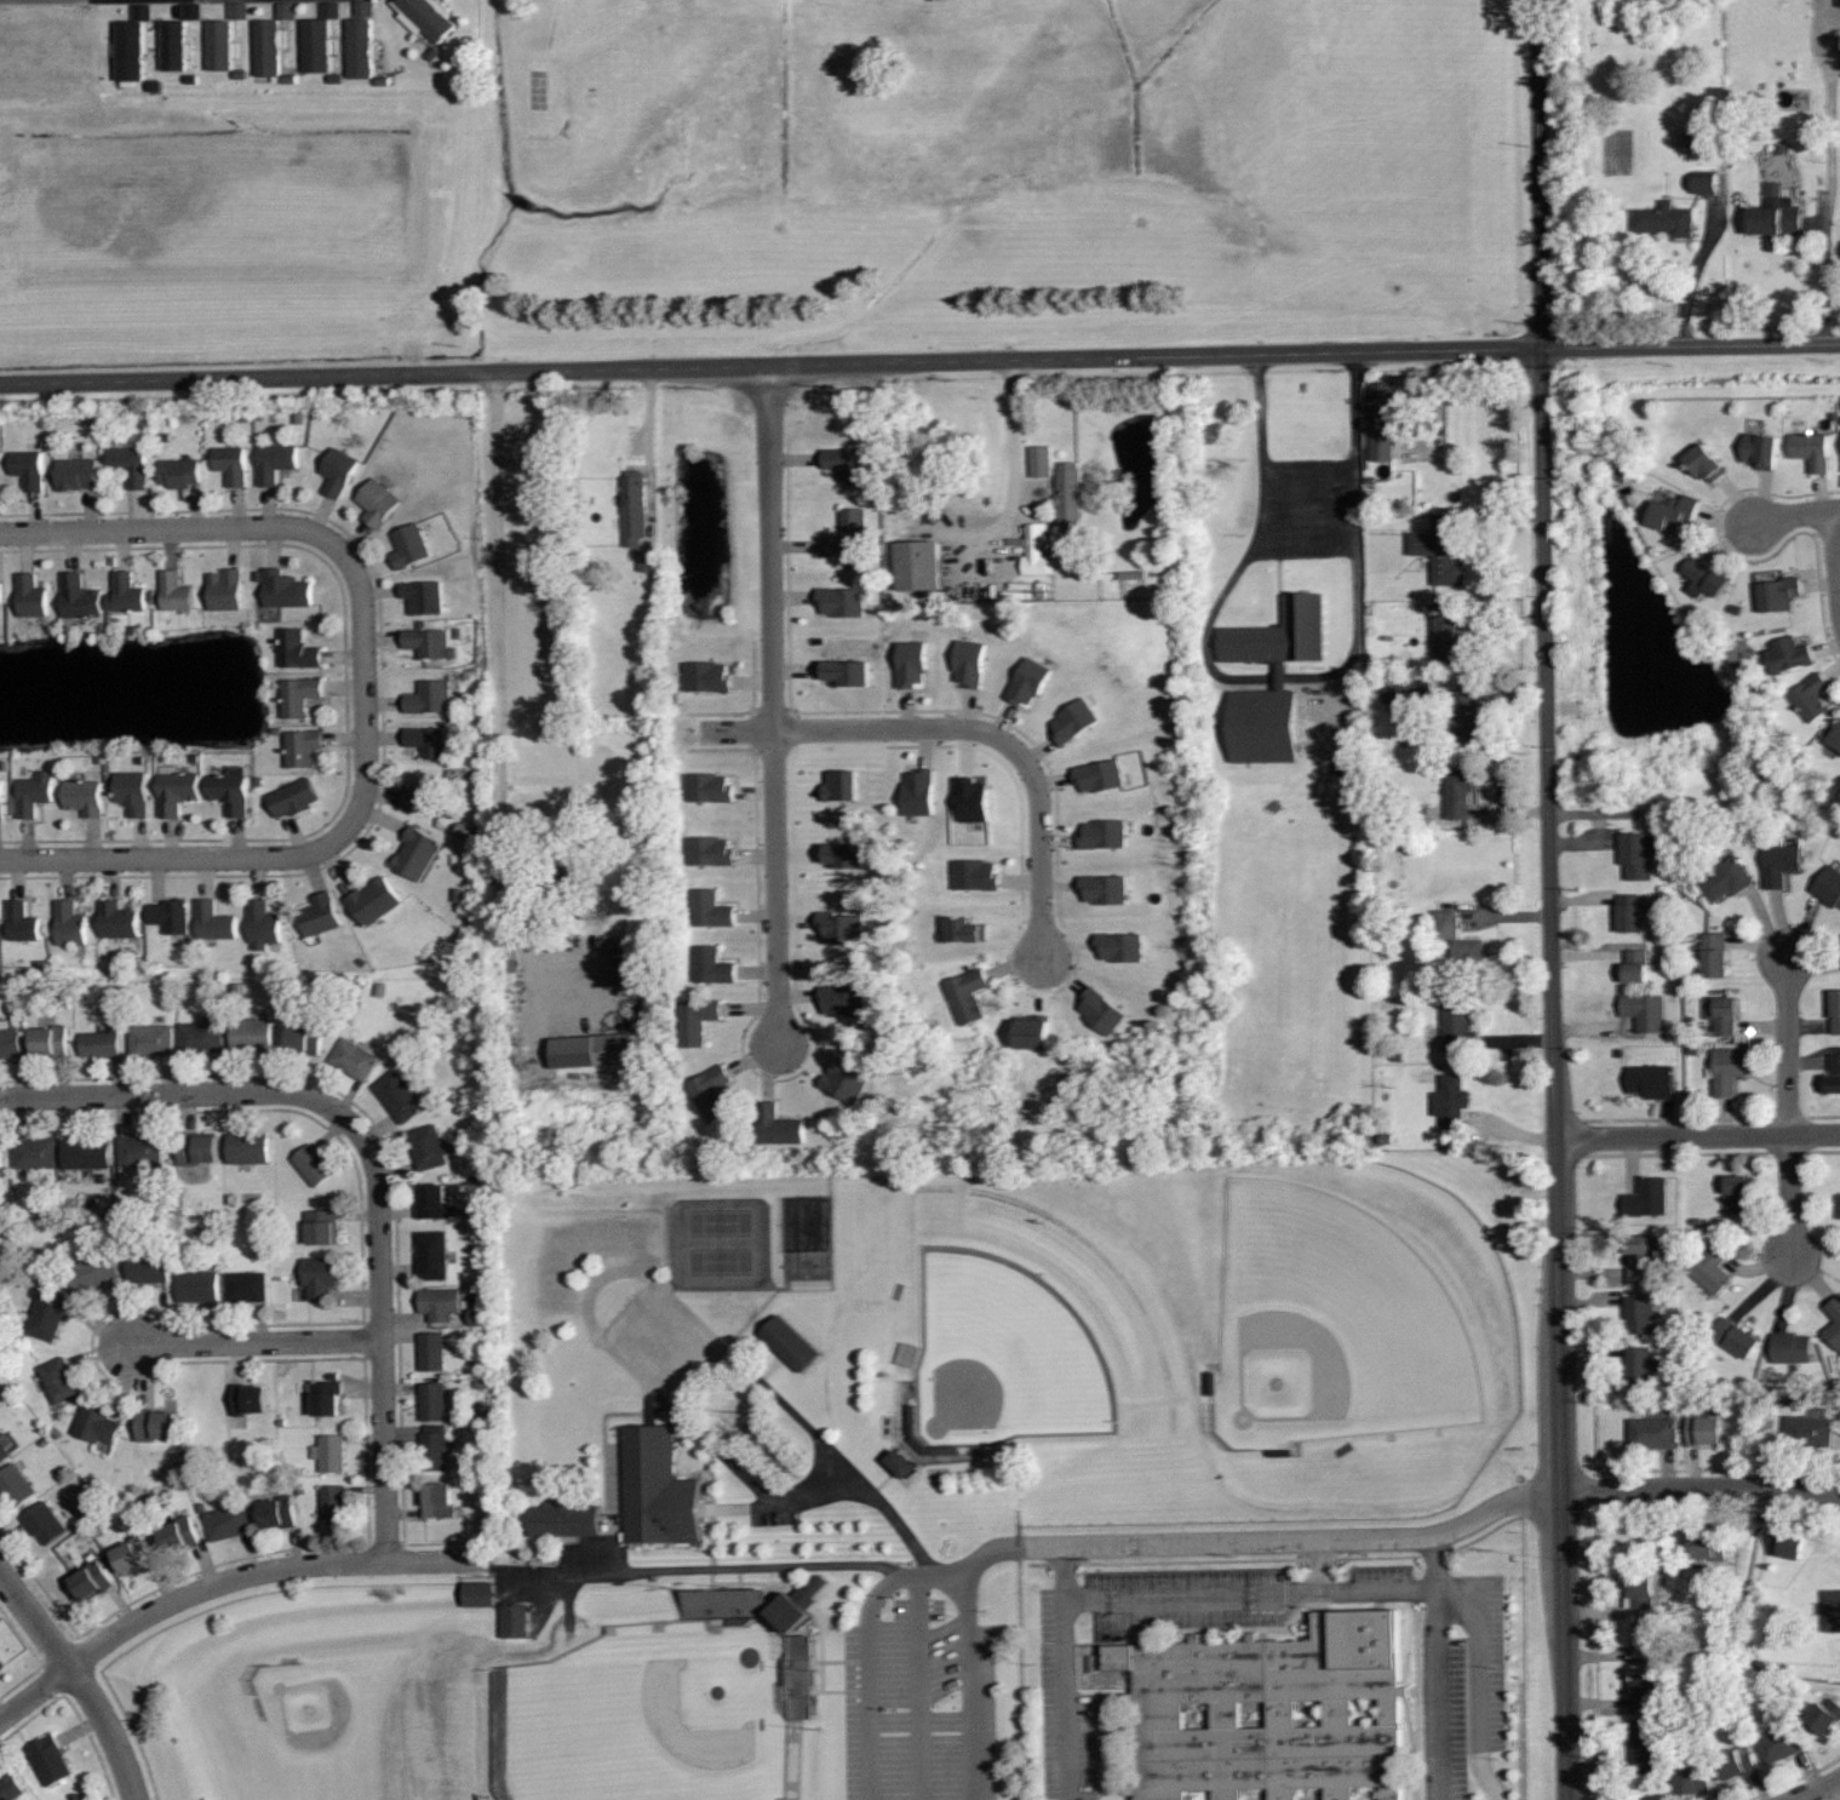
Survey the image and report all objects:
road: (208, 2)
road: (180, 6)
building: (194, 11)
building: (240, 11)
building: (290, 11)
building: (429, 17)
building: (322, 38)
building: (177, 45)
building: (224, 46)
building: (362, 48)
building: (271, 50)
building: (132, 51)
building: (1698, 139)
building: (1708, 183)
building: (1776, 216)
building: (1664, 218)
road: (1823, 269)
road: (1695, 275)
road: (919, 360)
building: (1383, 418)
building: (1760, 449)
building: (1811, 449)
building: (276, 462)
building: (1043, 462)
building: (1704, 462)
building: (233, 463)
building: (846, 464)
road: (1015, 464)
building: (131, 465)
building: (29, 469)
building: (178, 471)
building: (337, 472)
building: (78, 474)
building: (1068, 491)
building: (374, 501)
building: (634, 506)
building: (1672, 512)
road: (1796, 512)
road: (264, 524)
building: (848, 534)
road: (1308, 535)
building: (411, 544)
road: (1836, 545)
building: (1440, 546)
building: (1038, 552)
building: (648, 561)
building: (923, 566)
building: (1704, 577)
building: (285, 587)
building: (227, 589)
building: (174, 590)
building: (0, 591)
building: (1778, 592)
building: (29, 594)
building: (125, 594)
building: (426, 595)
building: (75, 596)
building: (843, 601)
building: (1444, 636)
building: (430, 641)
building: (298, 649)
building: (1787, 654)
building: (912, 663)
building: (970, 663)
building: (849, 672)
building: (707, 675)
building: (1283, 675)
building: (1030, 680)
road: (497, 682)
building: (1412, 690)
building: (299, 694)
building: (1811, 694)
building: (430, 695)
road: (778, 705)
building: (1464, 717)
building: (1076, 718)
road: (974, 728)
building: (1835, 735)
building: (426, 739)
building: (302, 745)
building: (1100, 773)
building: (842, 785)
building: (711, 786)
building: (178, 789)
building: (131, 790)
building: (230, 790)
building: (921, 791)
building: (1458, 791)
building: (34, 793)
building: (82, 795)
building: (293, 795)
building: (425, 795)
building: (1, 798)
building: (978, 801)
building: (1105, 832)
building: (712, 849)
building: (415, 852)
building: (1638, 853)
road: (233, 855)
building: (844, 856)
building: (1779, 864)
building: (976, 873)
building: (563, 878)
building: (1724, 879)
building: (1829, 885)
building: (1106, 888)
building: (373, 899)
road: (1550, 899)
building: (711, 907)
building: (1629, 912)
building: (168, 913)
building: (317, 915)
building: (22, 919)
building: (117, 919)
building: (213, 921)
building: (70, 923)
building: (260, 923)
building: (842, 928)
building: (965, 930)
building: (1461, 941)
building: (1122, 945)
building: (1714, 955)
building: (710, 964)
building: (1635, 965)
building: (967, 993)
building: (844, 999)
building: (1105, 1009)
building: (1644, 1010)
building: (1835, 1010)
building: (1721, 1014)
building: (694, 1019)
building: (1458, 1026)
building: (251, 1032)
building: (1034, 1033)
building: (201, 1036)
building: (305, 1036)
building: (10, 1039)
building: (149, 1039)
building: (47, 1041)
building: (99, 1043)
road: (1788, 1044)
building: (595, 1051)
building: (355, 1057)
building: (1727, 1070)
building: (1834, 1073)
building: (844, 1077)
building: (1651, 1079)
building: (711, 1091)
building: (399, 1095)
road: (173, 1096)
building: (1451, 1100)
building: (778, 1124)
road: (1697, 1136)
building: (429, 1146)
building: (197, 1147)
building: (248, 1147)
building: (35, 1152)
building: (87, 1153)
building: (137, 1153)
building: (1, 1160)
building: (313, 1164)
building: (1736, 1193)
road: (1790, 1194)
building: (1647, 1197)
building: (435, 1202)
building: (1839, 1205)
park: (724, 1222)
building: (322, 1225)
building: (432, 1255)
building: (1636, 1257)
park: (726, 1261)
building: (148, 1266)
building: (1712, 1267)
building: (92, 1272)
building: (319, 1276)
building: (245, 1285)
building: (195, 1286)
building: (438, 1302)
building: (1639, 1313)
building: (46, 1314)
building: (480, 1318)
building: (1834, 1322)
park: (1336, 1324)
road: (380, 1335)
building: (1736, 1337)
building: (790, 1341)
road: (256, 1342)
building: (1790, 1347)
building: (432, 1351)
park: (1009, 1354)
building: (1638, 1364)
building: (58, 1380)
building: (327, 1395)
building: (248, 1398)
building: (432, 1400)
building: (96, 1423)
building: (155, 1423)
building: (911, 1426)
building: (1704, 1428)
building: (1809, 1431)
building: (1652, 1432)
building: (4, 1445)
building: (434, 1446)
building: (329, 1451)
building: (904, 1464)
building: (16, 1484)
road: (1698, 1486)
building: (654, 1487)
road: (810, 1489)
building: (437, 1498)
building: (332, 1502)
building: (276, 1510)
building: (561, 1518)
building: (227, 1521)
building: (45, 1523)
building: (178, 1532)
road: (1294, 1538)
building: (1789, 1541)
building: (1709, 1543)
road: (704, 1550)
road: (992, 1553)
building: (132, 1554)
road: (1320, 1563)
road: (911, 1575)
building: (91, 1578)
road: (225, 1581)
road: (1251, 1589)
building: (1640, 1590)
building: (481, 1595)
building: (723, 1603)
building: (801, 1604)
building: (1833, 1610)
building: (514, 1617)
building: (1649, 1641)
building: (2, 1663)
road: (1480, 1673)
building: (798, 1675)
road: (78, 1681)
road: (969, 1683)
road: (918, 1687)
building: (1647, 1691)
road: (1437, 1693)
road: (1068, 1696)
road: (870, 1703)
building: (1269, 1713)
building: (1824, 1715)
park: (647, 1716)
park: (361, 1725)
building: (1779, 1743)
building: (1643, 1744)
building: (51, 1759)
building: (1737, 1760)
building: (1692, 1781)
building: (12, 1787)
road: (1496, 1789)
road: (1815, 1789)

